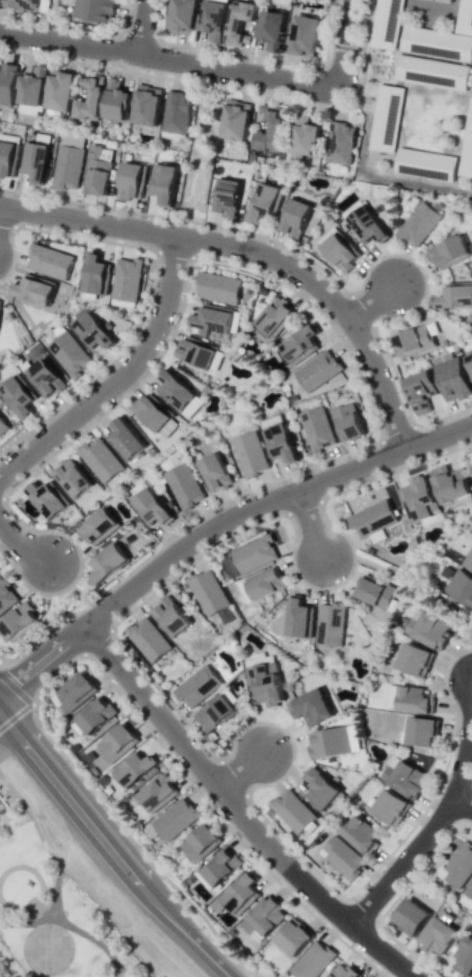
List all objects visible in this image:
building: (445, 1)
building: (22, 4)
building: (95, 9)
building: (182, 17)
building: (464, 17)
building: (213, 19)
building: (239, 22)
building: (385, 23)
building: (271, 25)
road: (142, 27)
building: (305, 35)
building: (436, 43)
road: (206, 65)
street lamp: (138, 70)
building: (432, 72)
building: (7, 83)
building: (59, 90)
building: (31, 91)
building: (90, 99)
building: (116, 100)
building: (146, 105)
building: (175, 113)
building: (386, 117)
building: (235, 119)
building: (270, 128)
building: (304, 139)
building: (340, 143)
building: (466, 145)
road: (201, 151)
park: (200, 153)
building: (7, 155)
building: (35, 158)
building: (68, 162)
building: (425, 164)
building: (97, 170)
building: (131, 180)
building: (164, 183)
building: (227, 197)
building: (264, 202)
building: (295, 218)
street lamp: (177, 222)
building: (418, 224)
building: (366, 225)
street lamp: (268, 240)
building: (340, 251)
building: (449, 251)
road: (252, 253)
building: (50, 261)
building: (96, 274)
street lamp: (427, 279)
building: (126, 281)
street lamp: (154, 286)
building: (218, 287)
building: (34, 290)
building: (456, 295)
building: (0, 301)
road: (370, 302)
building: (275, 317)
building: (213, 318)
building: (93, 331)
street lamp: (340, 335)
building: (416, 339)
building: (299, 344)
building: (69, 354)
building: (198, 354)
building: (469, 360)
building: (317, 370)
road: (118, 375)
building: (44, 377)
building: (451, 377)
building: (420, 390)
street lamp: (398, 391)
building: (178, 392)
building: (18, 395)
street lamp: (116, 400)
building: (152, 412)
building: (347, 422)
building: (3, 427)
building: (317, 428)
building: (126, 439)
street lamp: (469, 441)
building: (279, 442)
building: (250, 454)
building: (100, 459)
street lamp: (390, 470)
building: (215, 471)
building: (73, 478)
building: (451, 485)
building: (183, 486)
building: (48, 498)
building: (419, 499)
building: (364, 500)
building: (151, 506)
building: (373, 520)
road: (310, 523)
road: (214, 524)
building: (99, 526)
road: (22, 543)
building: (254, 554)
building: (469, 562)
building: (108, 563)
street lamp: (356, 564)
street lamp: (167, 578)
building: (265, 584)
road: (414, 585)
building: (460, 587)
park: (417, 588)
building: (375, 591)
building: (208, 592)
building: (7, 596)
building: (226, 615)
building: (171, 616)
building: (299, 618)
building: (20, 622)
building: (331, 624)
building: (429, 630)
building: (149, 639)
building: (415, 659)
street lamp: (112, 682)
street lamp: (442, 683)
building: (267, 684)
building: (198, 686)
building: (414, 700)
building: (311, 707)
building: (216, 713)
building: (96, 716)
building: (422, 731)
building: (117, 742)
building: (329, 743)
road: (466, 751)
building: (136, 769)
road: (239, 770)
building: (405, 779)
building: (320, 788)
building: (159, 793)
road: (463, 802)
building: (391, 807)
street lamp: (215, 808)
building: (293, 810)
road: (238, 814)
building: (176, 818)
building: (361, 834)
building: (201, 843)
street lamp: (58, 844)
road: (115, 848)
street lamp: (297, 855)
building: (343, 857)
road: (402, 862)
building: (458, 866)
building: (222, 867)
building: (469, 890)
road: (55, 891)
building: (242, 894)
park: (57, 911)
building: (411, 916)
building: (264, 917)
road: (26, 922)
street lamp: (125, 926)
building: (439, 933)
building: (294, 936)
road: (97, 940)
street lamp: (351, 944)
park: (47, 948)
building: (464, 957)
building: (313, 960)
road: (6, 963)
building: (345, 972)
street lamp: (434, 973)
road: (156, 976)

